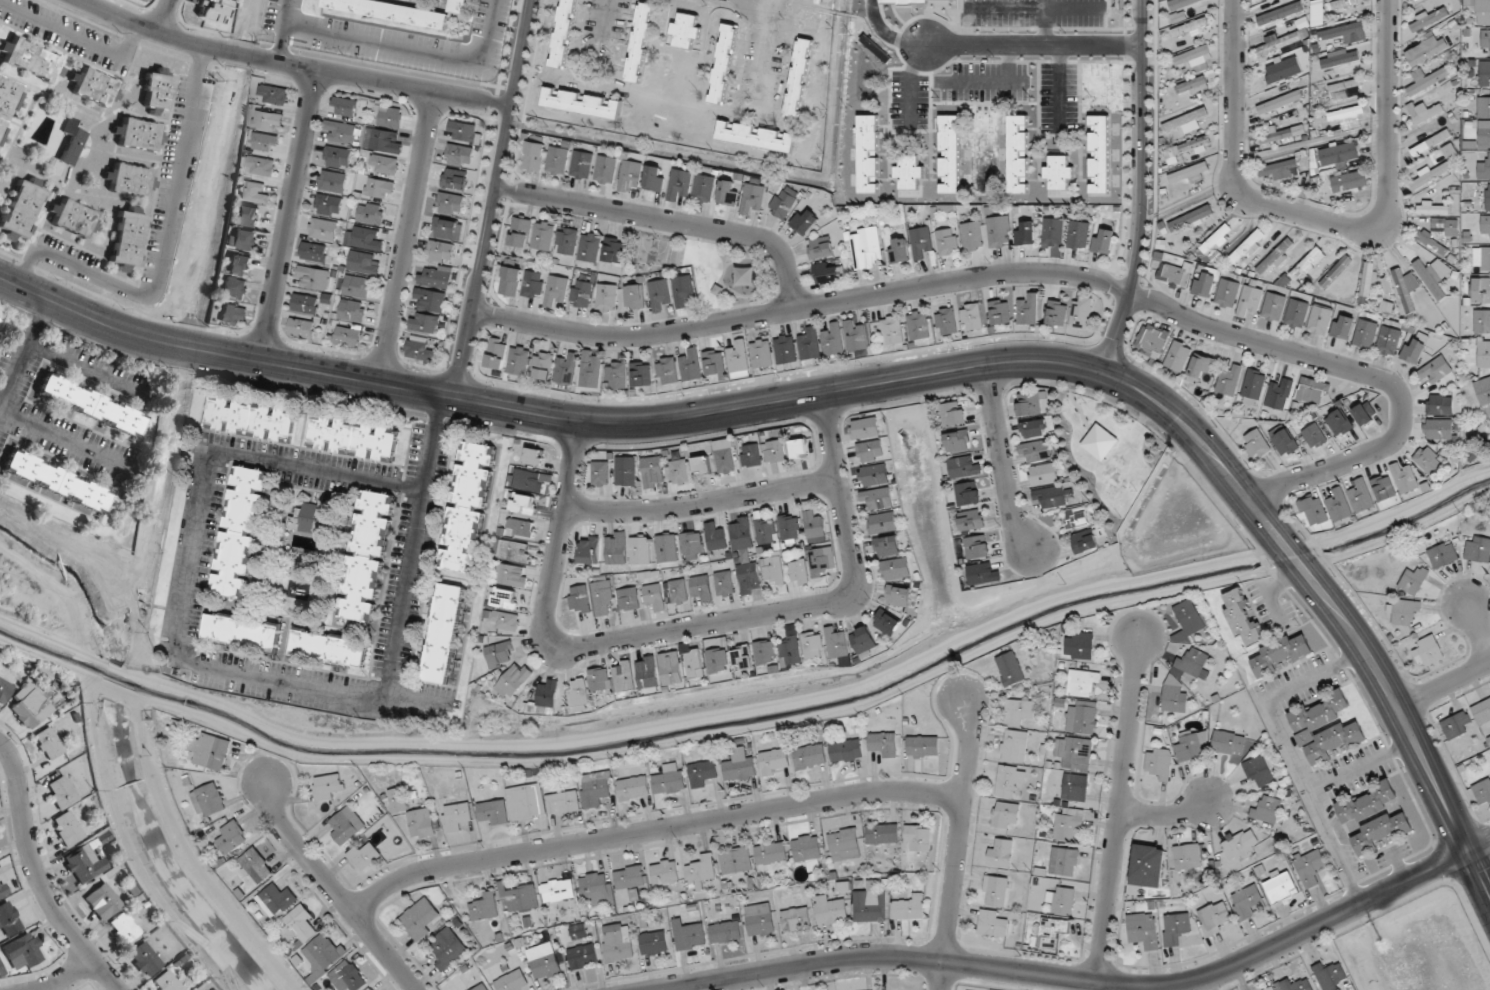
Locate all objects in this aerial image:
building: (141, 0)
building: (219, 0)
building: (1416, 0)
building: (919, 1)
building: (1181, 3)
building: (460, 6)
building: (1329, 8)
building: (1482, 12)
building: (209, 13)
building: (1280, 13)
road: (166, 17)
building: (1429, 17)
building: (1190, 28)
building: (686, 30)
building: (1345, 33)
road: (75, 34)
building: (563, 34)
building: (640, 42)
building: (1278, 42)
building: (1485, 42)
road: (1032, 45)
building: (1425, 50)
building: (1340, 58)
building: (32, 59)
building: (1194, 60)
building: (723, 63)
road: (293, 64)
building: (1282, 69)
building: (1483, 73)
building: (798, 78)
building: (1429, 80)
building: (1191, 85)
building: (1345, 85)
building: (93, 86)
building: (155, 92)
building: (274, 94)
building: (9, 96)
building: (582, 102)
building: (1279, 102)
building: (344, 107)
building: (1483, 107)
building: (1424, 111)
building: (388, 116)
building: (1347, 117)
building: (269, 120)
building: (1187, 121)
building: (3, 128)
building: (463, 132)
building: (340, 133)
building: (137, 134)
building: (1483, 134)
building: (756, 136)
building: (383, 140)
building: (72, 141)
building: (267, 142)
building: (1431, 142)
building: (1193, 145)
building: (1338, 152)
building: (868, 153)
building: (1018, 153)
building: (950, 154)
building: (1099, 154)
building: (460, 155)
building: (535, 156)
building: (337, 157)
building: (558, 160)
building: (383, 165)
building: (582, 165)
building: (261, 166)
building: (1435, 168)
building: (606, 169)
building: (1484, 169)
building: (1279, 170)
building: (909, 172)
building: (1191, 172)
building: (1058, 173)
building: (631, 175)
building: (655, 178)
building: (127, 179)
building: (455, 179)
building: (332, 181)
building: (1349, 181)
building: (679, 184)
building: (704, 188)
building: (378, 189)
road: (1141, 189)
building: (253, 192)
building: (729, 192)
building: (753, 196)
building: (1488, 197)
road: (492, 199)
building: (450, 203)
building: (783, 203)
building: (328, 205)
building: (21, 208)
building: (1432, 208)
building: (370, 213)
building: (248, 215)
road: (288, 215)
building: (73, 218)
building: (1191, 219)
road: (669, 220)
road: (1325, 221)
building: (804, 222)
building: (1452, 227)
building: (1485, 227)
building: (446, 228)
building: (323, 230)
building: (520, 232)
building: (1025, 232)
building: (1053, 232)
building: (999, 234)
building: (1079, 234)
building: (543, 236)
building: (972, 236)
building: (126, 238)
building: (363, 238)
road: (406, 238)
building: (1216, 238)
building: (241, 239)
building: (1103, 240)
building: (566, 241)
building: (921, 242)
building: (947, 242)
building: (1433, 243)
building: (590, 247)
building: (1247, 247)
building: (821, 248)
building: (866, 248)
building: (614, 250)
building: (899, 250)
building: (313, 252)
building: (441, 252)
road: (164, 254)
building: (1276, 256)
building: (1485, 259)
building: (363, 263)
building: (239, 264)
building: (1307, 264)
park: (707, 267)
building: (1335, 271)
building: (827, 272)
road: (1047, 272)
building: (1176, 275)
building: (1369, 277)
building: (1430, 277)
building: (312, 278)
building: (436, 278)
building: (510, 281)
building: (1205, 283)
building: (533, 284)
building: (356, 286)
building: (235, 288)
building: (1405, 288)
building: (557, 290)
building: (1480, 290)
building: (683, 291)
building: (1228, 292)
building: (581, 294)
building: (659, 296)
building: (634, 297)
building: (606, 298)
building: (430, 300)
building: (1251, 300)
building: (305, 304)
building: (1274, 307)
building: (1029, 310)
building: (351, 311)
building: (1000, 312)
building: (1082, 312)
building: (1058, 313)
building: (1297, 313)
building: (233, 314)
building: (972, 317)
building: (1320, 319)
building: (947, 321)
building: (1482, 321)
building: (426, 323)
building: (919, 325)
building: (1343, 326)
building: (302, 329)
building: (893, 330)
building: (1366, 333)
building: (347, 336)
building: (856, 337)
building: (833, 338)
building: (1153, 339)
building: (1389, 340)
building: (810, 343)
building: (1414, 346)
road: (23, 350)
building: (787, 352)
building: (420, 353)
building: (497, 353)
building: (762, 353)
road: (224, 354)
building: (1483, 354)
building: (1179, 356)
building: (739, 359)
building: (519, 361)
building: (714, 363)
building: (691, 365)
building: (543, 366)
road: (81, 368)
building: (1200, 369)
building: (1437, 369)
building: (567, 371)
building: (667, 371)
building: (592, 372)
building: (642, 374)
building: (617, 375)
building: (1229, 380)
building: (1253, 386)
building: (1312, 390)
building: (1483, 390)
building: (1279, 395)
road: (781, 400)
building: (1031, 404)
building: (1440, 404)
building: (90, 405)
building: (1363, 412)
building: (954, 414)
building: (252, 419)
building: (1489, 419)
building: (1340, 423)
building: (866, 428)
building: (1036, 429)
building: (1439, 429)
building: (1314, 436)
road: (56, 437)
building: (354, 438)
building: (1283, 440)
building: (959, 441)
building: (1099, 441)
road: (432, 444)
building: (1255, 445)
building: (800, 449)
park: (1107, 449)
building: (775, 451)
building: (872, 451)
building: (1035, 451)
building: (752, 455)
building: (533, 456)
building: (725, 456)
building: (1428, 460)
road: (1002, 462)
building: (703, 465)
building: (964, 467)
building: (626, 471)
building: (652, 472)
building: (680, 472)
building: (601, 473)
building: (1044, 474)
building: (875, 475)
building: (1404, 479)
building: (55, 481)
building: (532, 481)
building: (1383, 488)
building: (968, 494)
building: (1362, 496)
building: (1051, 497)
building: (878, 498)
road: (702, 503)
building: (525, 504)
building: (1340, 505)
building: (469, 507)
building: (1314, 511)
building: (1077, 517)
building: (309, 519)
building: (972, 520)
building: (883, 523)
building: (815, 527)
building: (521, 528)
building: (790, 529)
building: (241, 532)
building: (767, 532)
building: (741, 534)
building: (715, 538)
building: (1085, 542)
road: (190, 545)
building: (692, 545)
building: (888, 546)
building: (978, 547)
building: (616, 548)
building: (667, 548)
building: (1478, 549)
building: (589, 550)
building: (640, 550)
building: (515, 551)
building: (368, 556)
building: (1442, 556)
building: (820, 561)
building: (897, 569)
building: (773, 571)
building: (799, 572)
building: (983, 574)
building: (512, 575)
building: (749, 578)
building: (1413, 581)
building: (724, 584)
building: (701, 588)
building: (678, 591)
building: (899, 596)
road: (403, 598)
building: (603, 598)
building: (654, 598)
building: (506, 599)
building: (579, 599)
building: (628, 599)
road: (1332, 607)
building: (1404, 611)
building: (1242, 617)
building: (504, 620)
building: (1188, 620)
building: (887, 622)
road: (1478, 623)
road: (684, 630)
building: (242, 631)
building: (443, 633)
building: (863, 640)
building: (837, 643)
building: (814, 644)
building: (1079, 646)
building: (330, 648)
building: (790, 651)
building: (766, 652)
building: (1429, 652)
building: (1281, 653)
building: (499, 654)
building: (744, 658)
building: (719, 660)
building: (696, 664)
building: (672, 668)
building: (1010, 669)
building: (648, 673)
building: (625, 676)
building: (601, 679)
building: (514, 681)
building: (1174, 682)
building: (1082, 683)
road: (1443, 684)
building: (4, 689)
building: (579, 695)
building: (545, 699)
building: (29, 704)
building: (1017, 711)
building: (1482, 711)
building: (1082, 717)
building: (1457, 725)
building: (1325, 728)
building: (48, 743)
building: (1228, 743)
building: (884, 744)
building: (1192, 745)
building: (923, 746)
building: (1014, 746)
building: (210, 751)
building: (846, 751)
building: (1076, 755)
building: (810, 757)
building: (774, 762)
building: (1159, 764)
building: (739, 766)
building: (1258, 771)
building: (703, 773)
building: (1009, 780)
building: (669, 783)
building: (328, 787)
building: (1075, 787)
building: (596, 789)
building: (633, 789)
building: (61, 792)
building: (1481, 795)
building: (209, 800)
building: (563, 802)
building: (524, 804)
building: (1267, 809)
building: (493, 812)
road: (1118, 812)
road: (1164, 813)
building: (412, 814)
building: (1005, 815)
building: (456, 817)
building: (1373, 817)
building: (1068, 824)
building: (347, 826)
building: (67, 828)
road: (651, 829)
building: (883, 834)
building: (918, 837)
building: (231, 838)
building: (1240, 843)
building: (844, 844)
road: (958, 846)
road: (1479, 846)
building: (807, 848)
building: (1000, 852)
building: (771, 853)
building: (364, 856)
building: (1190, 856)
building: (736, 861)
building: (1064, 862)
building: (84, 864)
building: (255, 866)
building: (1148, 866)
building: (1310, 867)
building: (665, 872)
building: (701, 873)
road: (37, 876)
building: (630, 880)
building: (1280, 886)
road: (332, 888)
building: (597, 888)
building: (2, 890)
building: (558, 890)
building: (995, 891)
building: (519, 898)
building: (1061, 899)
building: (277, 900)
building: (103, 901)
building: (1246, 901)
building: (869, 904)
building: (485, 908)
building: (909, 909)
building: (830, 911)
building: (1214, 918)
building: (9, 919)
building: (796, 919)
building: (421, 920)
building: (761, 920)
building: (992, 923)
building: (300, 926)
building: (124, 928)
building: (1176, 928)
building: (1144, 930)
building: (579, 931)
building: (726, 932)
building: (1051, 933)
building: (690, 937)
building: (617, 942)
building: (654, 943)
building: (448, 948)
building: (23, 952)
building: (322, 956)
building: (583, 957)
building: (144, 960)
building: (544, 961)
building: (1330, 976)
road: (66, 977)
building: (347, 977)
building: (167, 981)
building: (513, 981)
road: (1081, 981)
building: (1294, 985)
building: (482, 987)
building: (371, 989)
building: (1272, 989)

